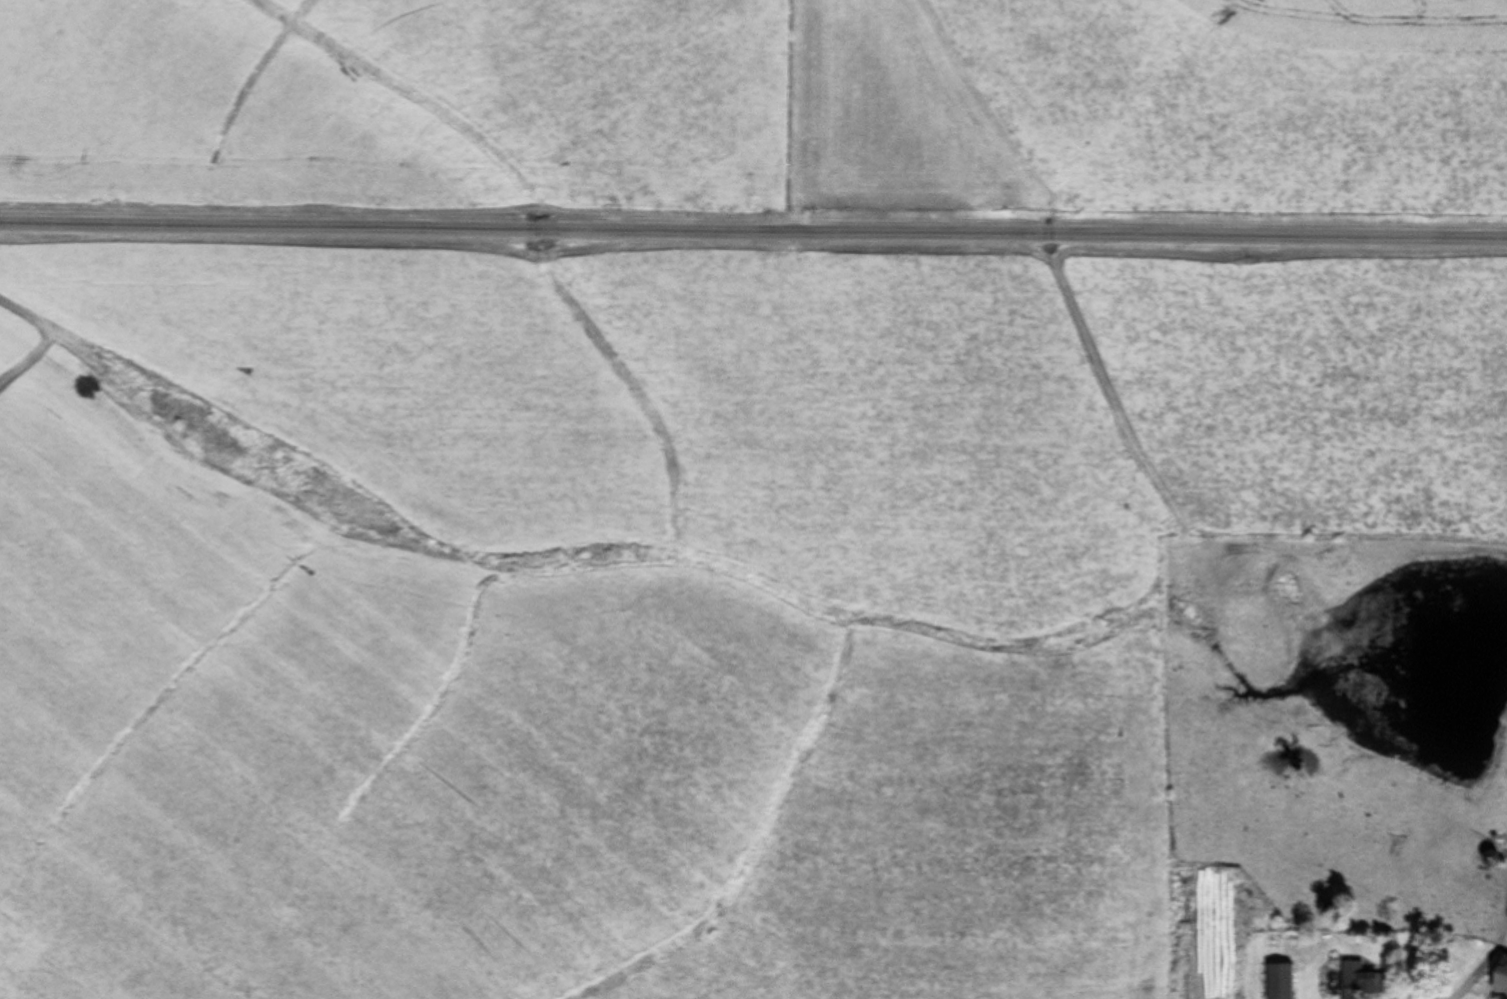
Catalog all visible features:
road: (753, 219)
building: (1487, 860)
building: (1188, 911)
building: (1497, 977)
building: (1354, 980)
building: (1275, 981)

